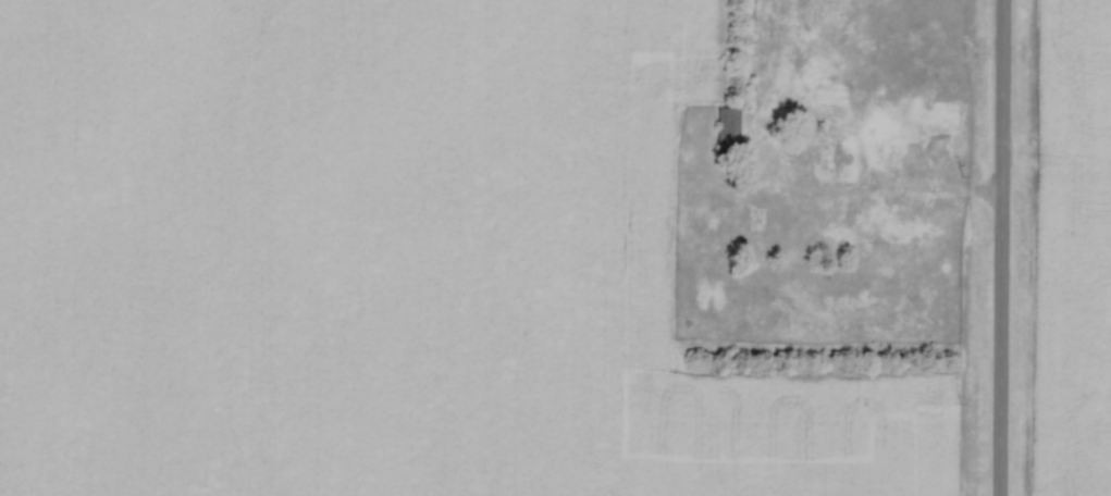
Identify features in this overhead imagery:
building: (832, 95)
building: (940, 115)
building: (728, 131)
building: (836, 159)
road: (936, 194)
road: (997, 247)

